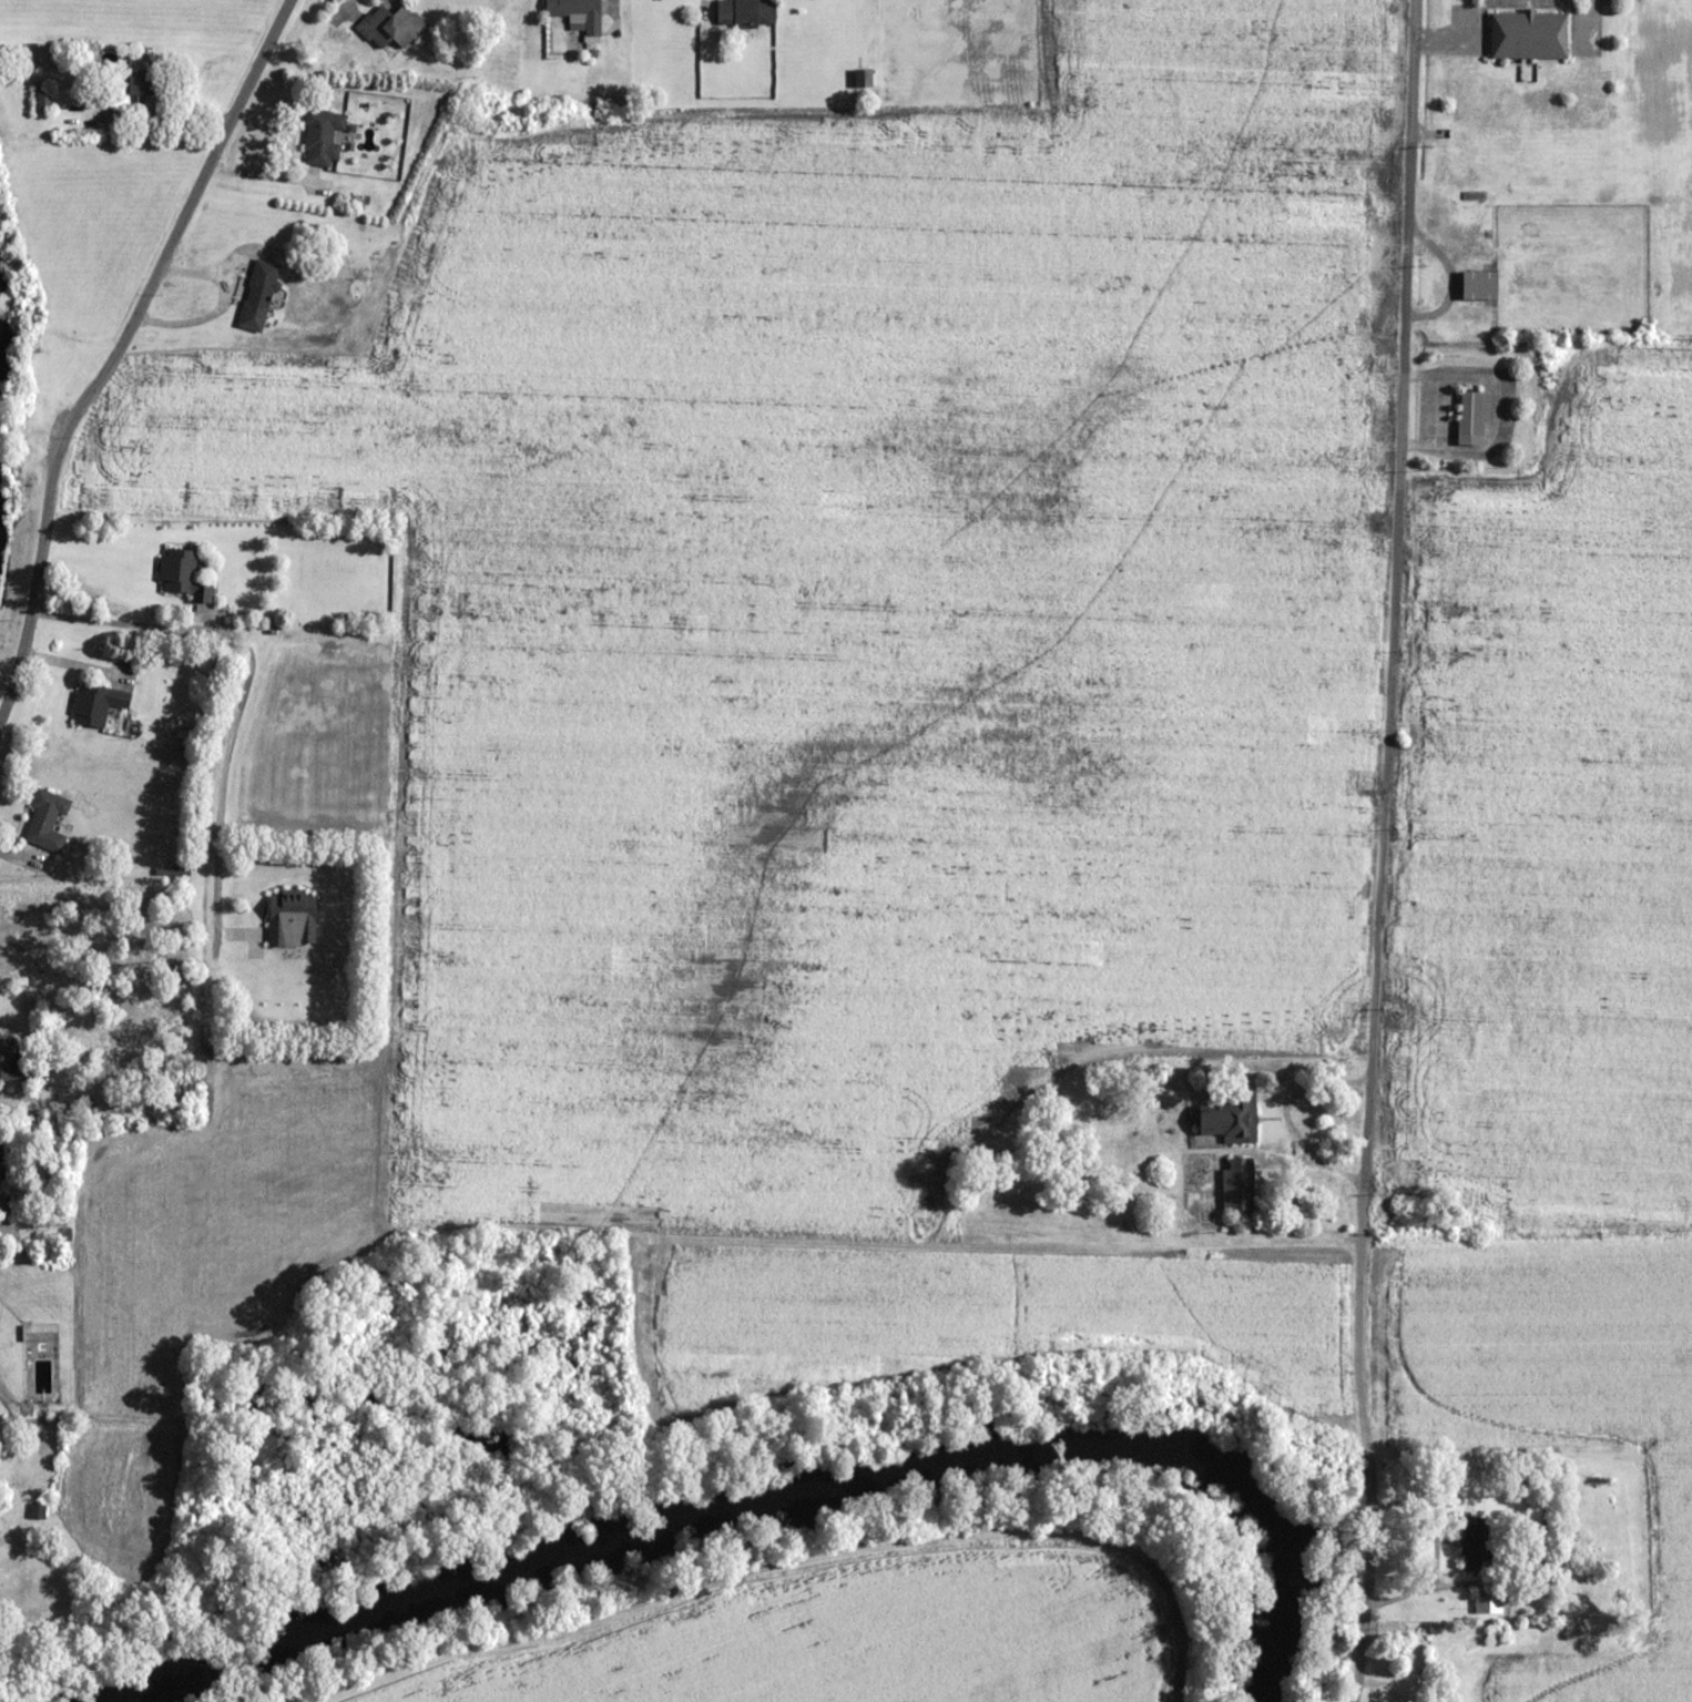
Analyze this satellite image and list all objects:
building: (746, 12)
building: (579, 16)
building: (393, 29)
building: (1529, 34)
building: (135, 92)
building: (44, 100)
building: (323, 136)
road: (181, 224)
building: (1479, 285)
building: (258, 295)
building: (1474, 415)
building: (183, 572)
road: (34, 581)
road: (244, 682)
building: (98, 702)
building: (48, 818)
road: (1380, 850)
building: (293, 917)
building: (1496, 1026)
building: (8, 1061)
building: (1232, 1119)
building: (0, 1169)
building: (1239, 1184)
building: (41, 1342)
road: (1527, 1453)
river: (769, 1469)
building: (38, 1511)
building: (1474, 1543)
building: (1486, 1610)
building: (1519, 1691)
building: (1469, 1700)

